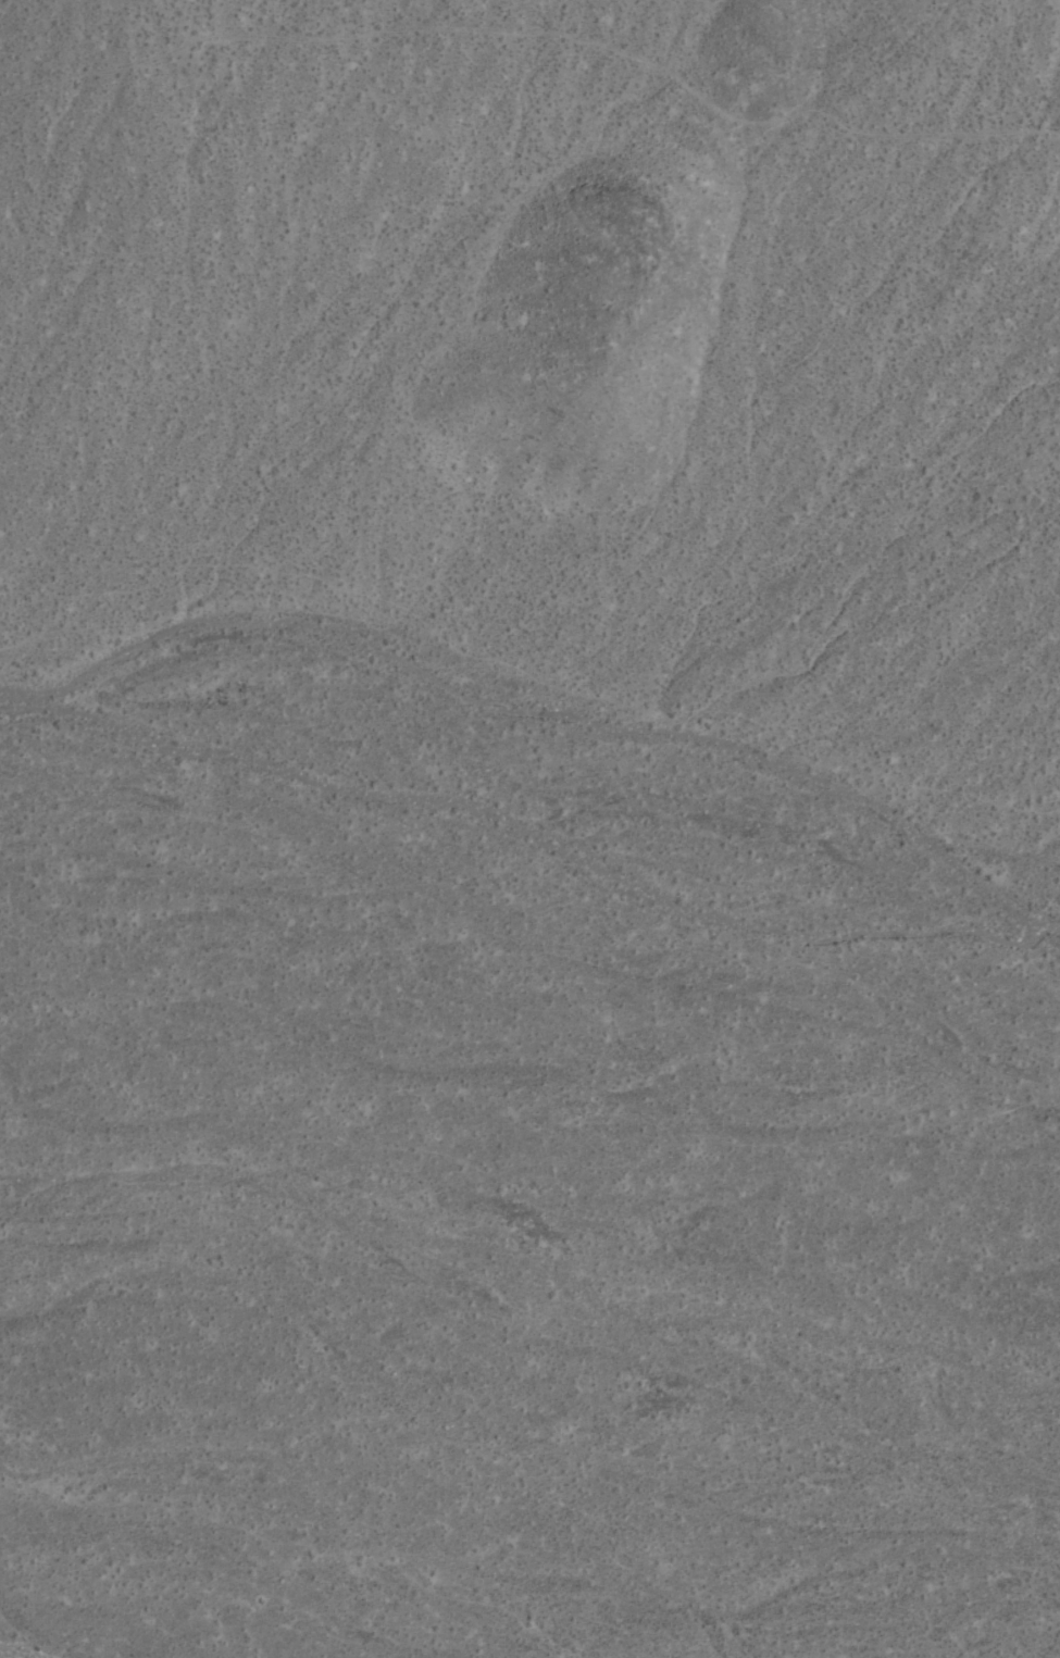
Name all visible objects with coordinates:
road: (536, 30)

